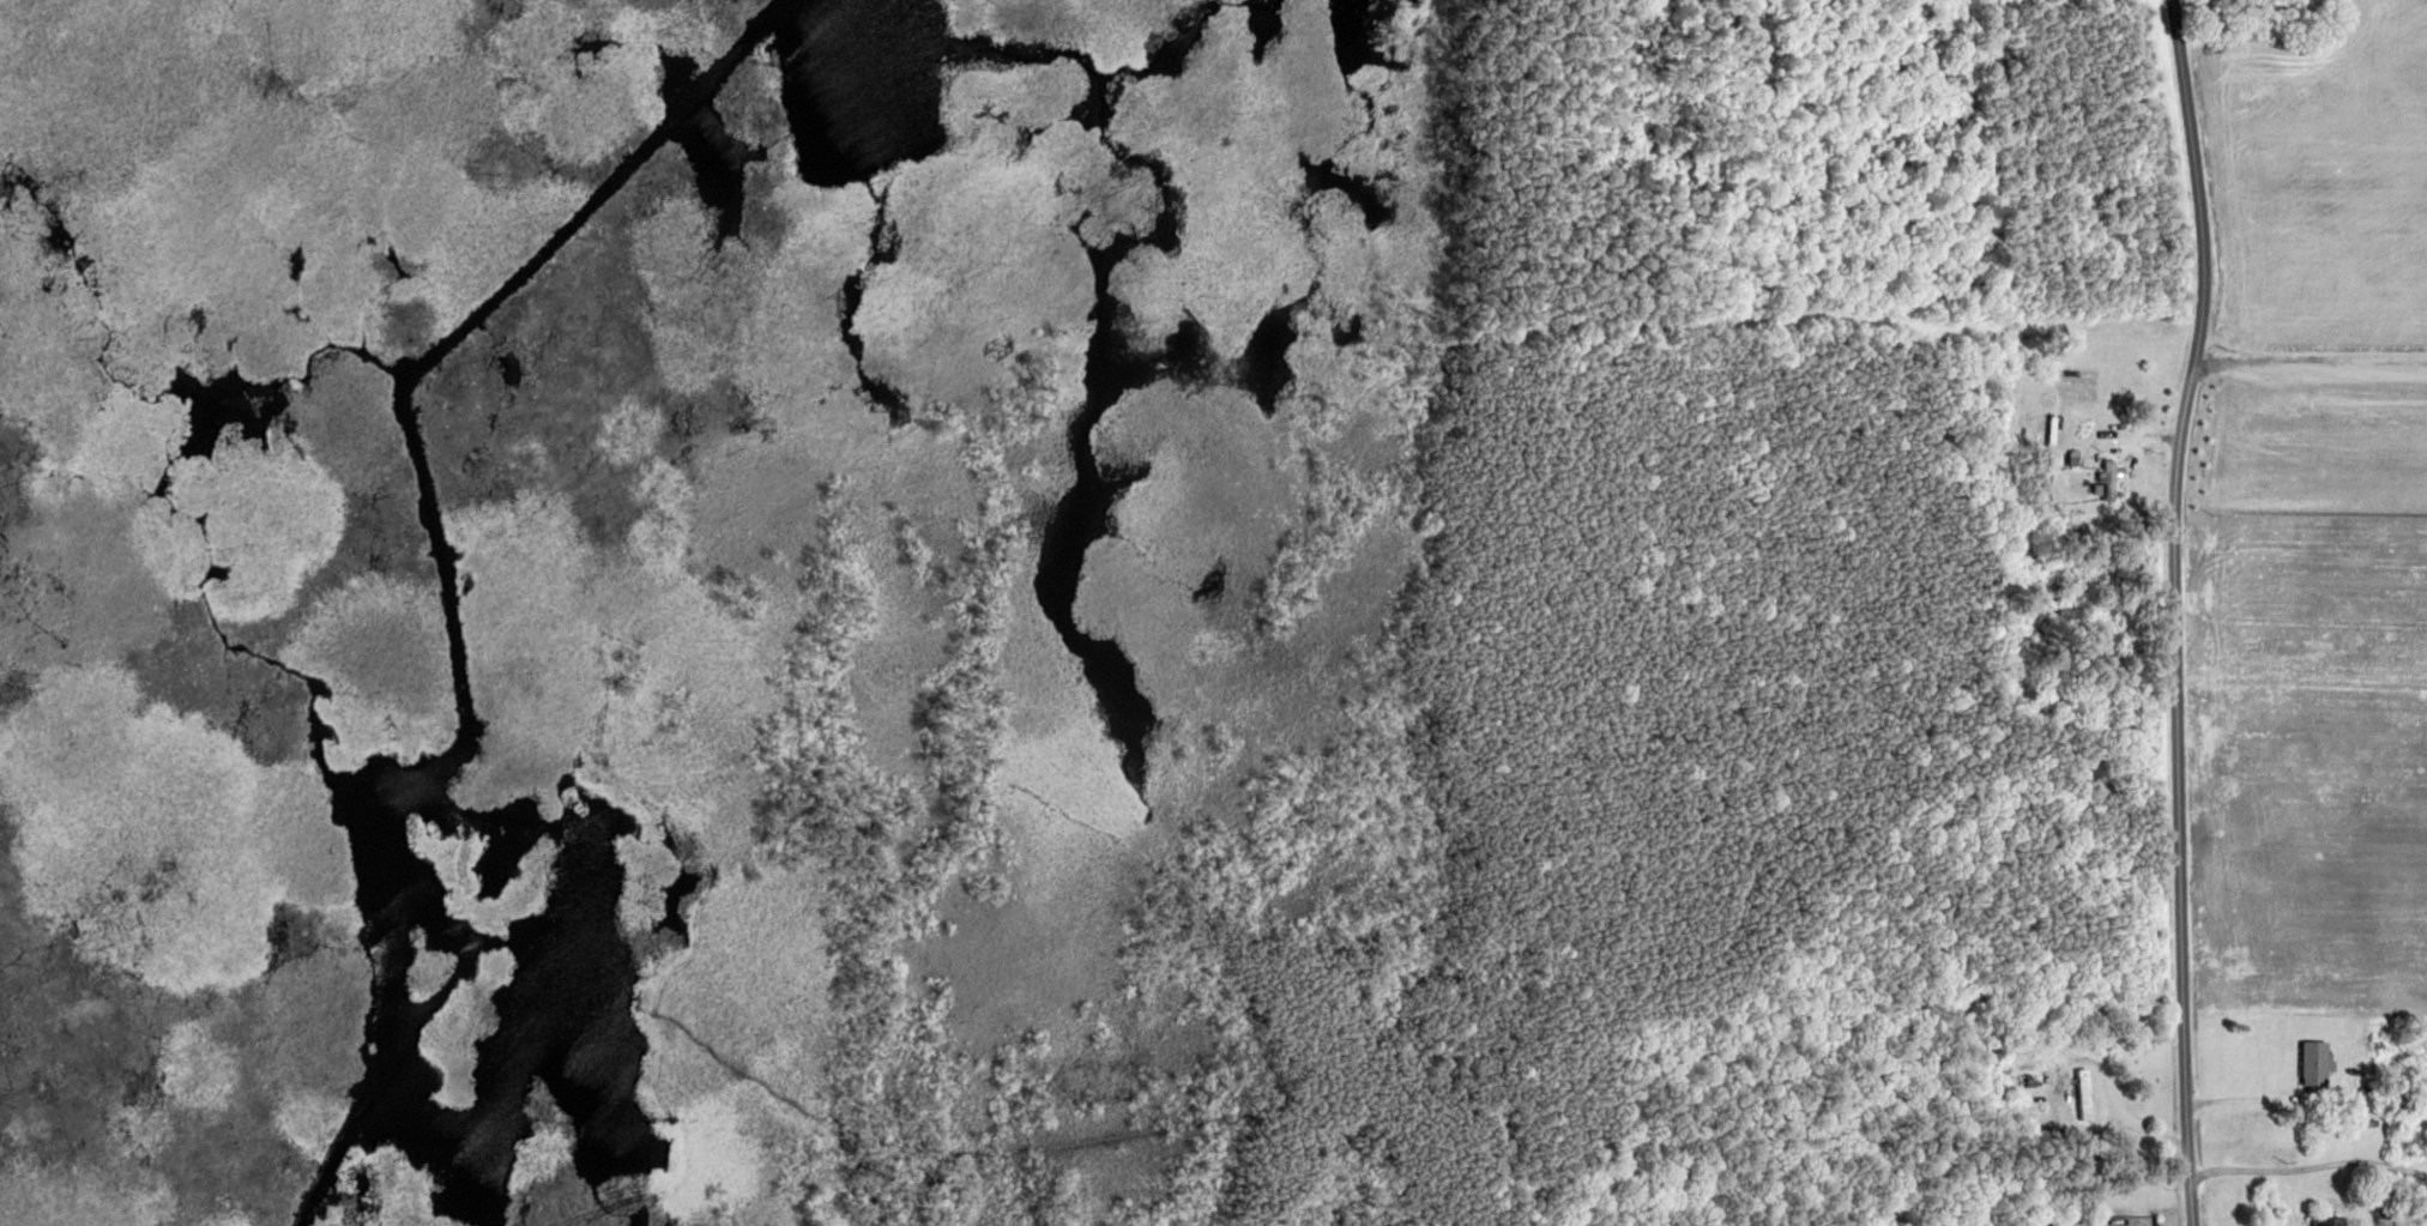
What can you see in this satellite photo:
crop: (2319, 179)
road: (2311, 362)
road: (2142, 440)
building: (2075, 454)
building: (2111, 476)
road: (2175, 610)
crop: (2310, 759)
building: (2317, 1064)
building: (2366, 1089)
building: (2085, 1093)
road: (2250, 1099)
road: (2065, 1100)
building: (2373, 1122)
road: (2310, 1162)
road: (2294, 1195)
building: (2379, 1213)
building: (2405, 1213)
building: (2330, 1220)

